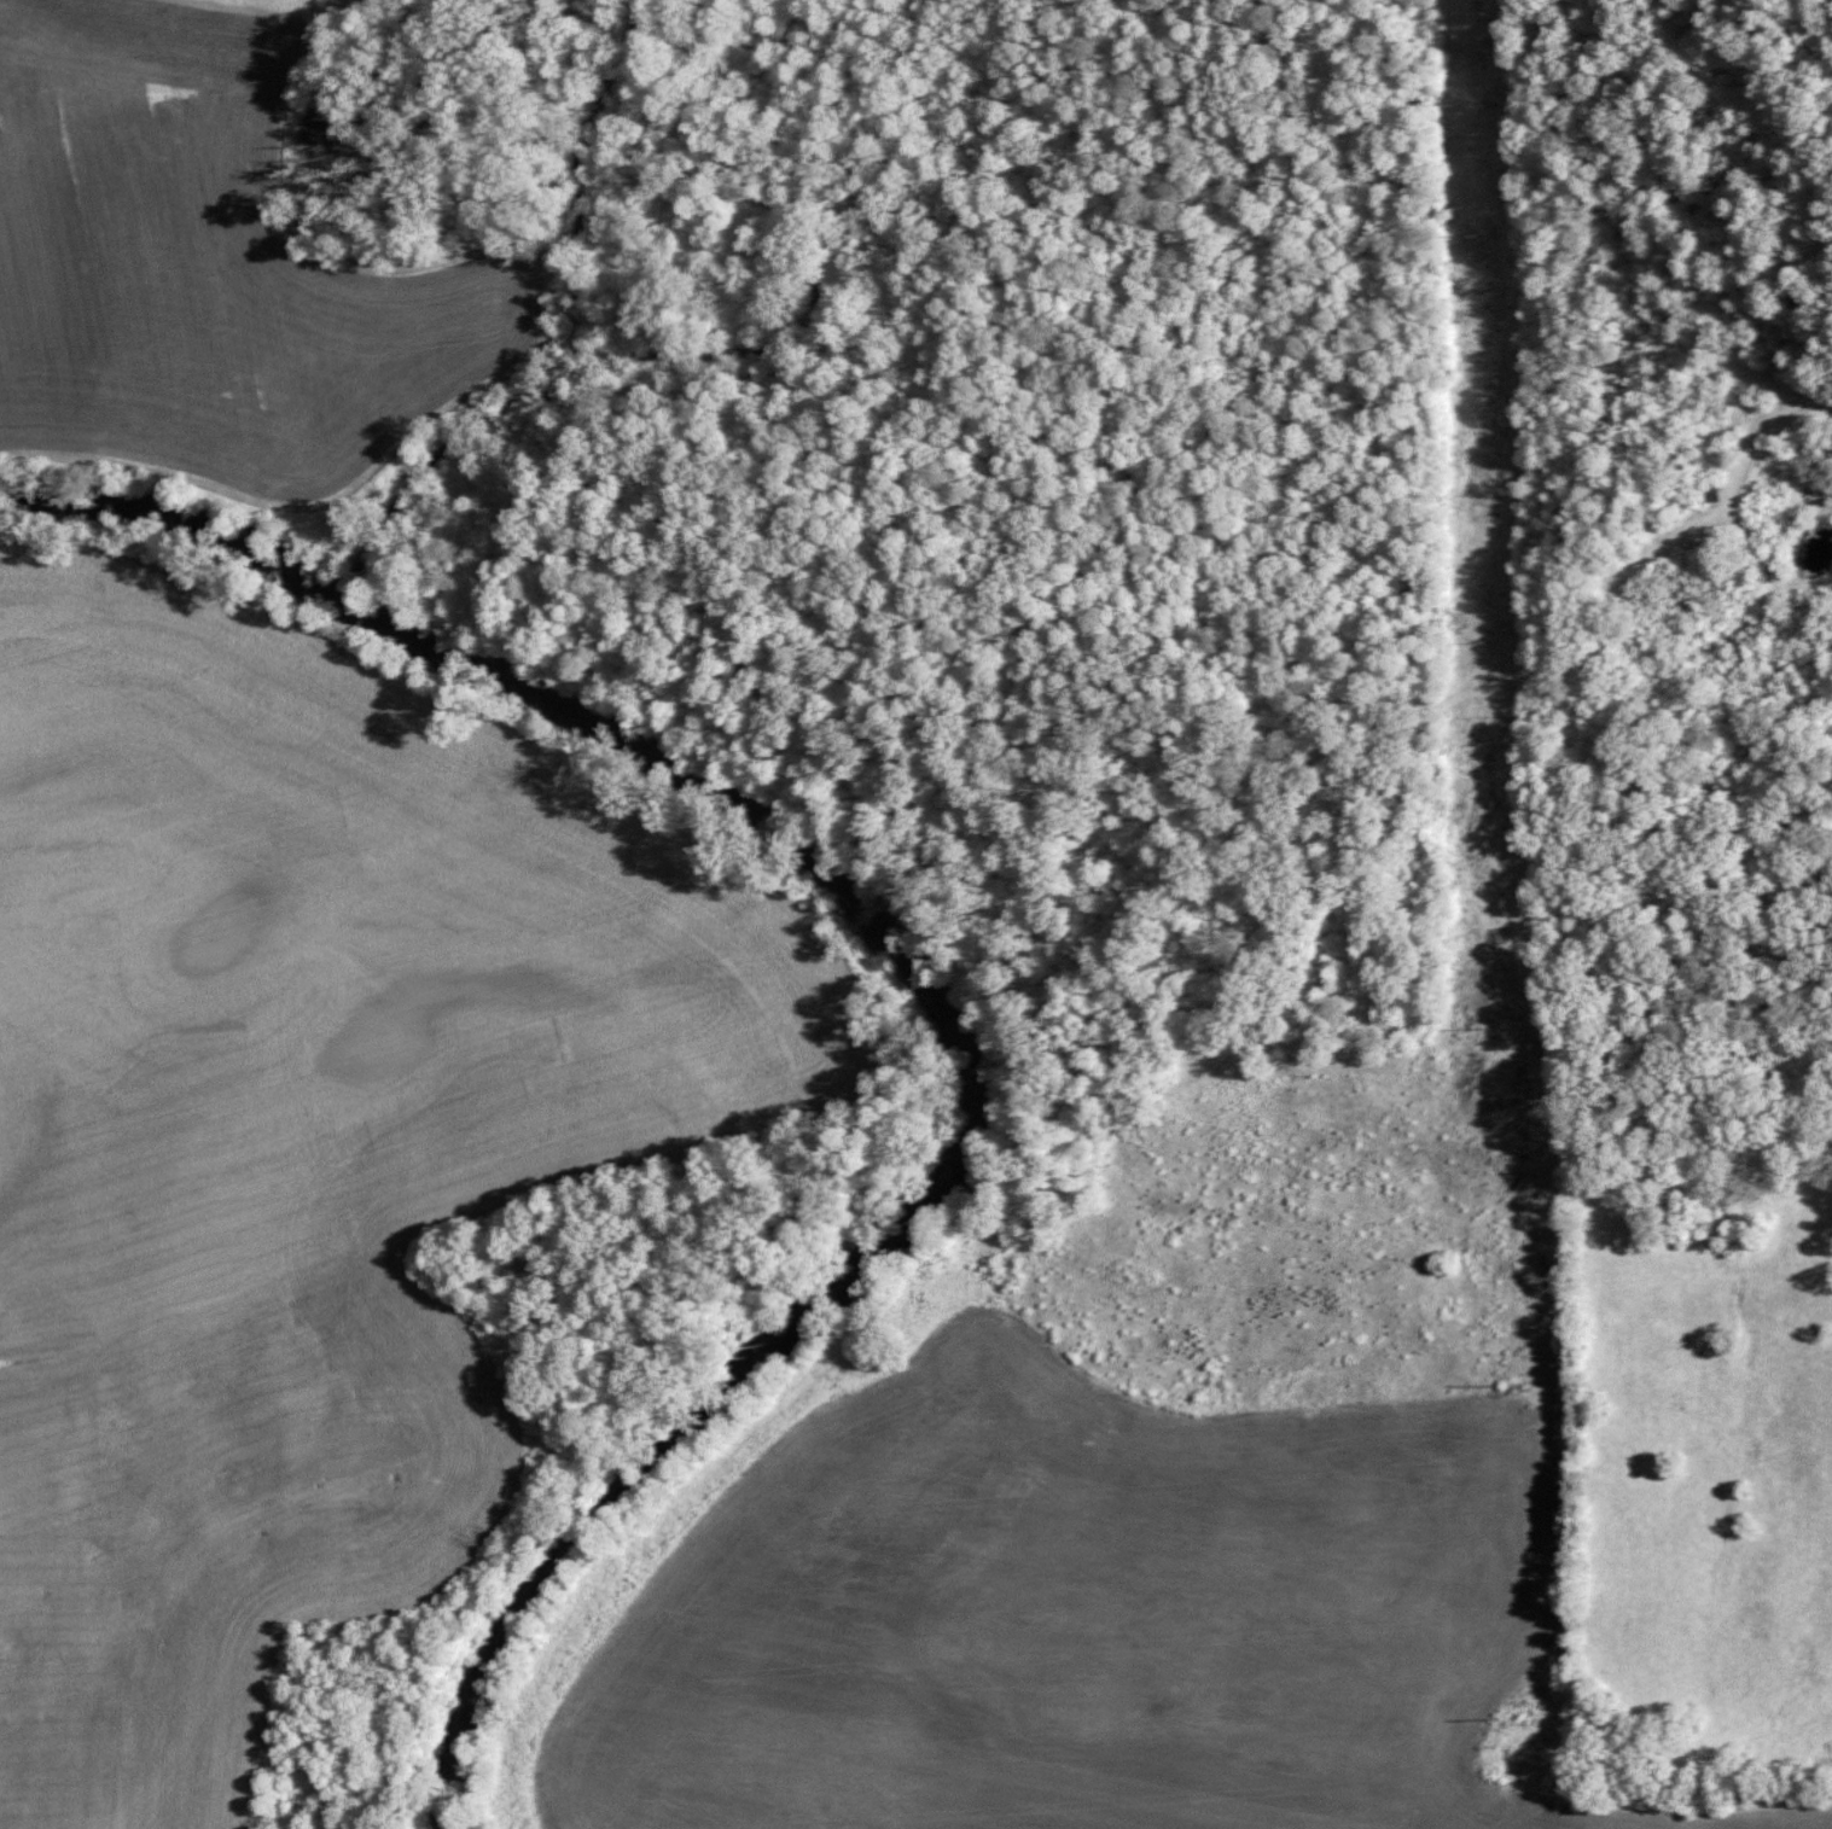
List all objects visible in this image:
road: (1755, 395)
river: (942, 996)

